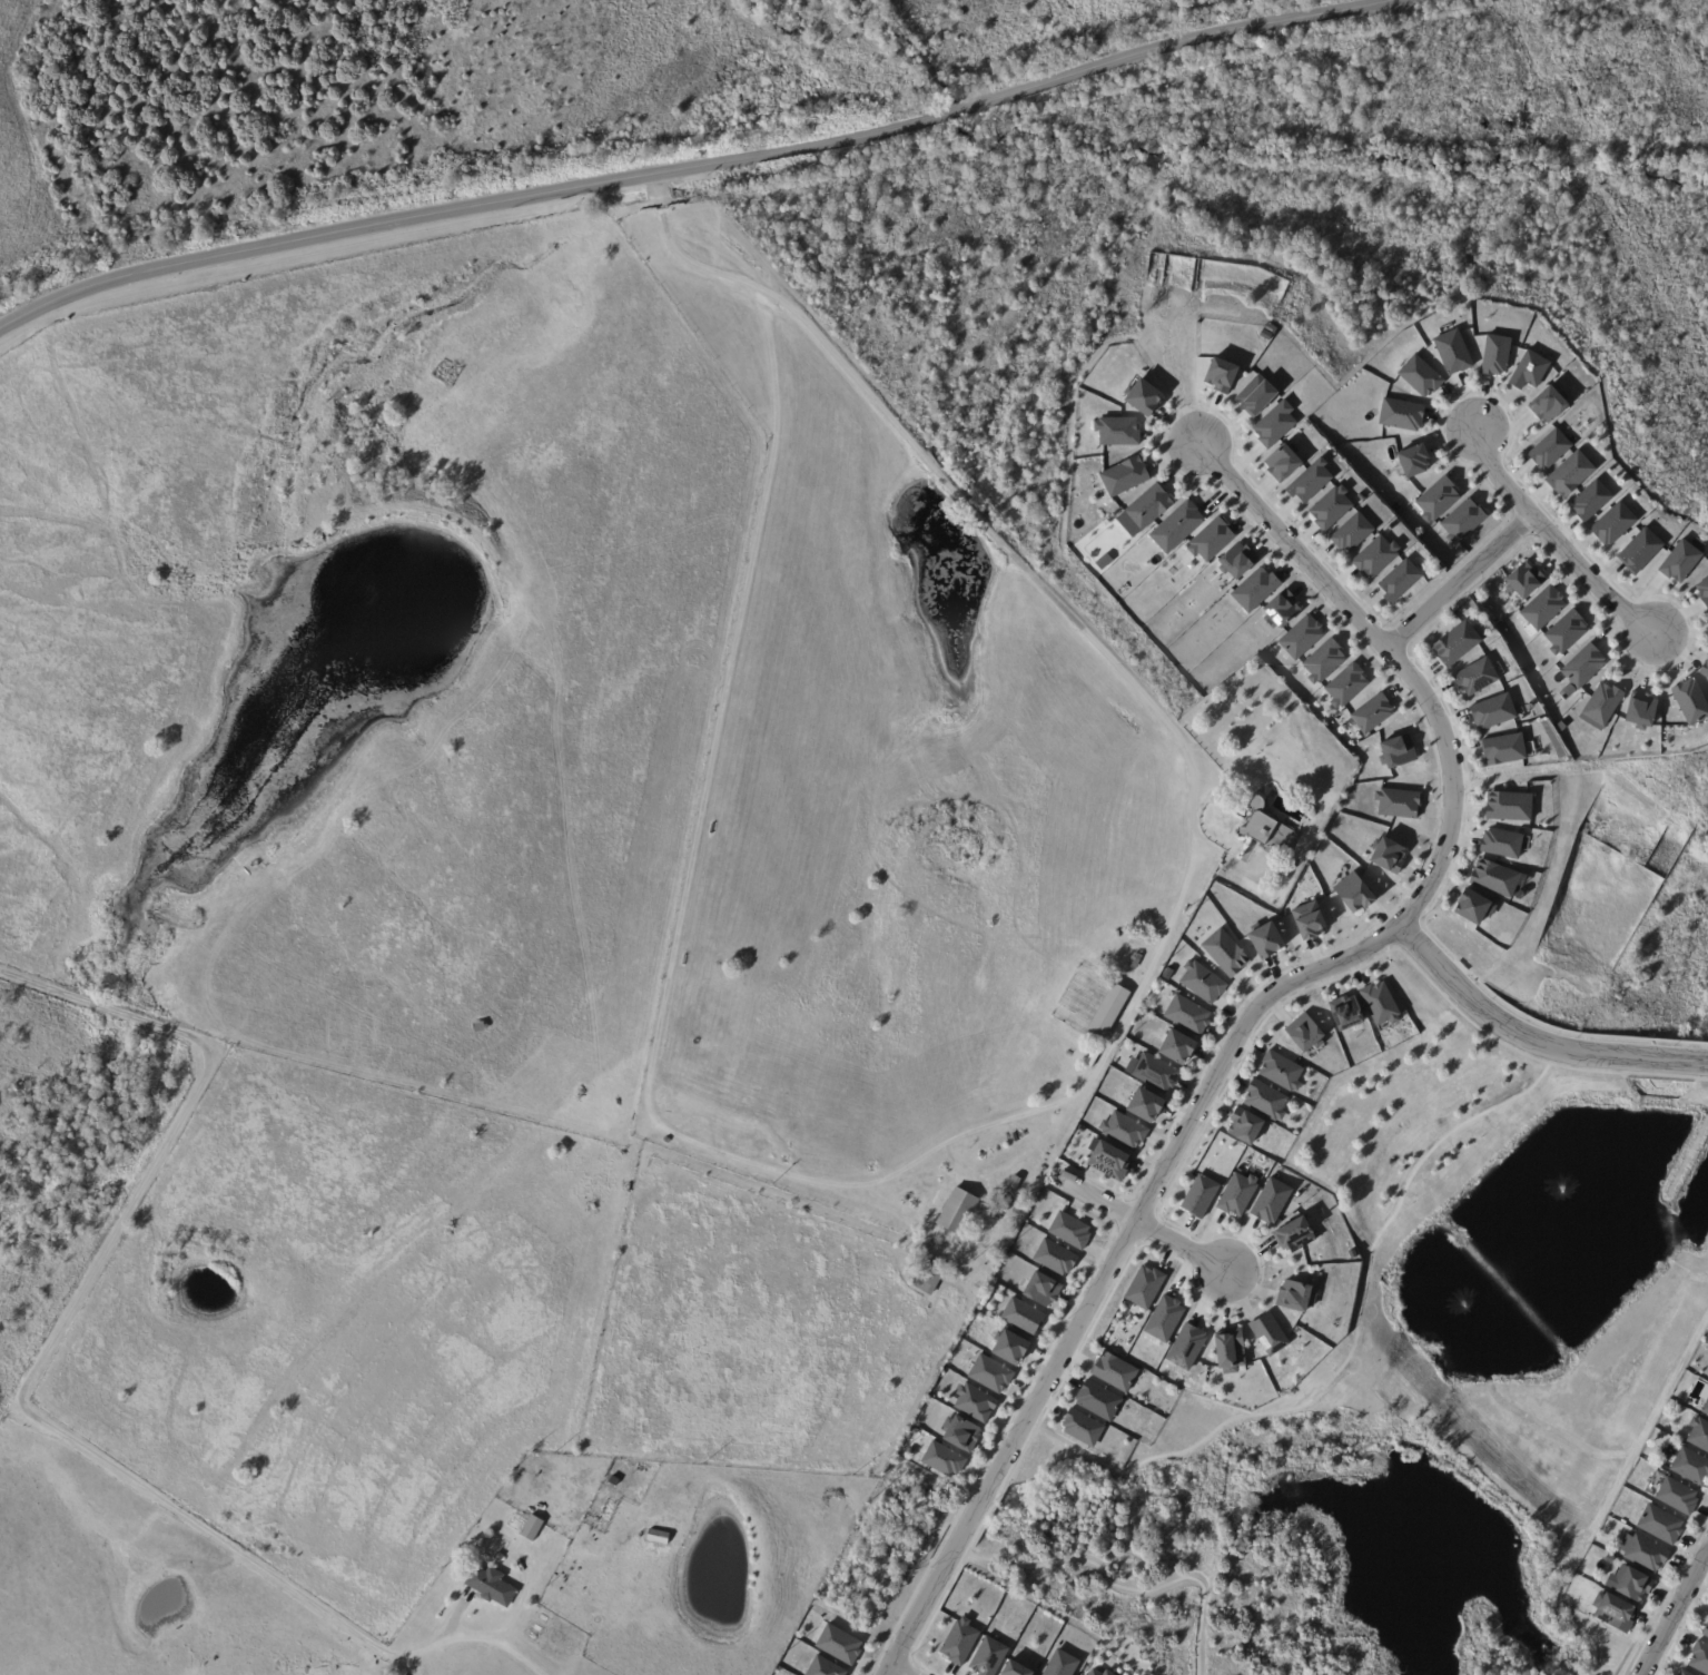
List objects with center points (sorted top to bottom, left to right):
road: (691, 166)
building: (1270, 327)
building: (1265, 334)
building: (1453, 352)
building: (1495, 355)
building: (1529, 372)
building: (1221, 375)
building: (1421, 376)
building: (1256, 397)
building: (1143, 398)
building: (1547, 405)
building: (1401, 414)
building: (1275, 424)
building: (1116, 433)
building: (1550, 450)
building: (1413, 461)
building: (1282, 464)
building: (1570, 476)
building: (1125, 477)
building: (1310, 482)
building: (1361, 497)
building: (1438, 500)
building: (1591, 501)
building: (1147, 508)
building: (1331, 509)
building: (1463, 522)
building: (1179, 524)
building: (1613, 524)
building: (1352, 534)
road: (1554, 539)
building: (1212, 540)
building: (1640, 551)
building: (1375, 558)
building: (1104, 561)
building: (1680, 561)
building: (1236, 563)
road: (1453, 580)
building: (1399, 581)
building: (1524, 581)
building: (1255, 591)
building: (1702, 592)
building: (1543, 608)
building: (1281, 610)
building: (1566, 632)
building: (1301, 638)
building: (1455, 644)
building: (1323, 662)
building: (1584, 667)
building: (1705, 669)
building: (1475, 678)
road: (1404, 680)
building: (1345, 688)
building: (1690, 701)
building: (1603, 703)
building: (1640, 710)
building: (1492, 711)
building: (1372, 715)
building: (1503, 749)
building: (1396, 755)
building: (1399, 804)
building: (1508, 807)
building: (1267, 831)
building: (1500, 844)
building: (1388, 857)
building: (1492, 878)
building: (1353, 893)
building: (1473, 908)
building: (1307, 919)
building: (1266, 944)
building: (1225, 955)
building: (1134, 963)
building: (1202, 982)
building: (1380, 1005)
building: (1107, 1014)
building: (1187, 1014)
building: (1345, 1015)
building: (481, 1026)
building: (1304, 1033)
road: (1530, 1038)
building: (1177, 1047)
building: (1093, 1060)
building: (1280, 1073)
building: (1155, 1074)
building: (1264, 1103)
building: (1145, 1104)
road: (1020, 1114)
building: (1246, 1127)
building: (1124, 1132)
building: (741, 1142)
building: (1107, 1160)
building: (1015, 1185)
building: (1235, 1193)
building: (1198, 1194)
building: (1268, 1200)
fountain: (1559, 1200)
building: (956, 1212)
building: (998, 1216)
road: (1139, 1223)
building: (1068, 1232)
building: (1292, 1235)
building: (1053, 1255)
road: (1678, 1269)
building: (927, 1278)
building: (1143, 1285)
building: (1040, 1288)
road: (1096, 1290)
building: (1296, 1295)
park: (1443, 1312)
building: (1020, 1314)
building: (1163, 1317)
building: (1268, 1334)
building: (1184, 1346)
building: (1008, 1347)
road: (1352, 1348)
building: (1228, 1350)
building: (1113, 1370)
building: (989, 1372)
road: (19, 1398)
building: (973, 1401)
building: (1098, 1401)
building: (1705, 1407)
road: (1537, 1421)
building: (1082, 1428)
building: (960, 1432)
building: (1699, 1433)
building: (941, 1458)
building: (1690, 1465)
building: (1677, 1496)
building: (1659, 1524)
building: (527, 1527)
building: (640, 1529)
building: (658, 1538)
building: (1645, 1553)
building: (501, 1557)
road: (1116, 1585)
building: (1635, 1585)
building: (494, 1588)
road: (1672, 1609)
building: (1613, 1612)
building: (1705, 1630)
building: (958, 1640)
building: (838, 1643)
building: (988, 1656)
building: (1699, 1657)
building: (1060, 1664)
building: (823, 1667)
road: (901, 1668)
building: (1014, 1668)
building: (1097, 1672)
building: (1685, 1673)

